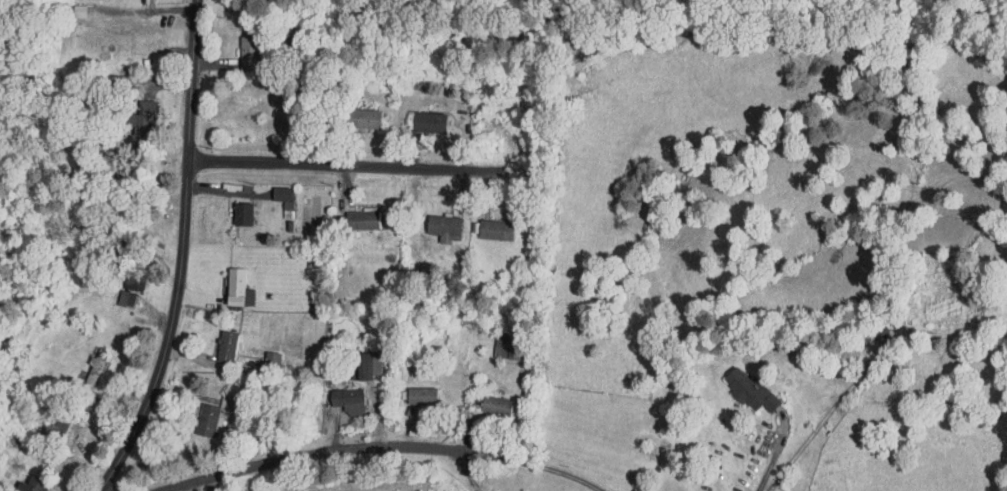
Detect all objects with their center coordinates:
building: (67, 5)
building: (236, 48)
building: (351, 112)
building: (130, 113)
building: (416, 116)
road: (368, 168)
building: (267, 188)
building: (229, 208)
building: (431, 222)
building: (483, 224)
road: (186, 253)
building: (121, 275)
building: (223, 281)
building: (113, 294)
building: (214, 341)
building: (494, 341)
building: (259, 354)
building: (354, 360)
building: (83, 363)
building: (738, 385)
building: (410, 390)
building: (335, 395)
building: (484, 400)
building: (195, 414)
building: (50, 423)
road: (340, 452)
road: (767, 472)
road: (561, 473)
building: (19, 482)

